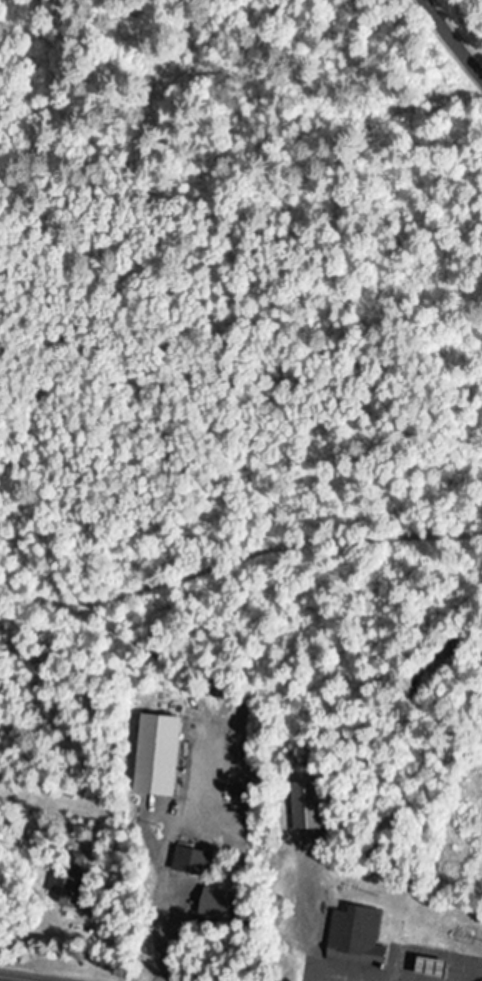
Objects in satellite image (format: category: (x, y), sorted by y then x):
road: (452, 37)
building: (304, 808)
building: (191, 861)
building: (60, 884)
building: (216, 903)
building: (352, 940)
building: (427, 966)

